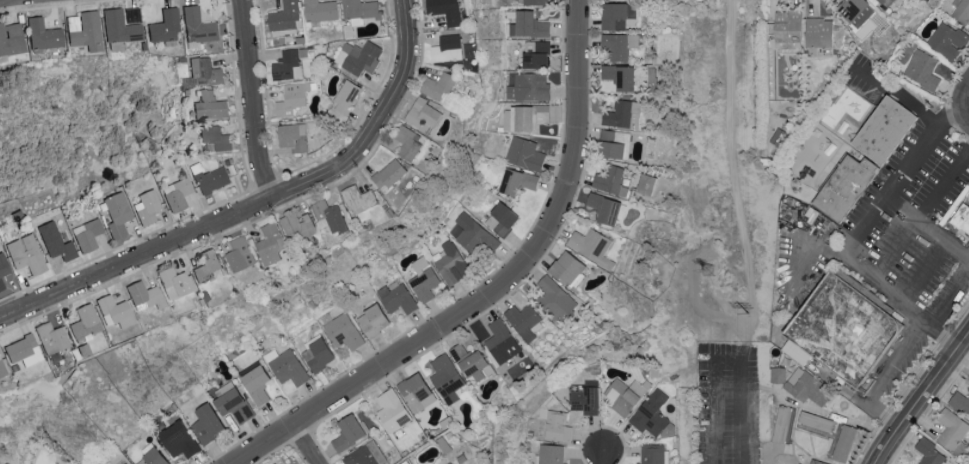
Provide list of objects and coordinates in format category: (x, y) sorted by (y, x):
road: (1, 0)
building: (880, 0)
building: (535, 2)
building: (850, 7)
building: (361, 10)
building: (960, 10)
building: (320, 11)
building: (446, 11)
building: (617, 15)
building: (286, 20)
building: (524, 23)
building: (787, 27)
building: (165, 28)
building: (200, 29)
building: (120, 30)
building: (818, 31)
building: (88, 33)
building: (45, 37)
building: (947, 39)
building: (11, 41)
building: (619, 44)
building: (448, 49)
building: (534, 53)
building: (363, 60)
building: (286, 65)
building: (922, 68)
building: (205, 72)
building: (619, 74)
building: (528, 86)
building: (440, 88)
building: (348, 98)
building: (293, 99)
road: (901, 99)
road: (253, 101)
road: (966, 106)
building: (210, 108)
building: (623, 113)
building: (422, 115)
building: (523, 116)
building: (886, 131)
building: (216, 138)
building: (294, 138)
building: (612, 142)
building: (408, 143)
road: (733, 143)
building: (525, 153)
building: (390, 176)
building: (610, 179)
building: (517, 180)
building: (213, 182)
building: (645, 182)
building: (845, 189)
building: (177, 196)
building: (360, 200)
building: (603, 206)
road: (258, 208)
building: (147, 209)
building: (116, 217)
road: (923, 217)
building: (329, 218)
building: (500, 218)
parking lot: (912, 222)
building: (966, 226)
building: (298, 229)
road: (926, 229)
building: (472, 233)
building: (87, 236)
road: (851, 238)
building: (591, 245)
building: (271, 246)
building: (60, 248)
building: (241, 255)
building: (25, 256)
building: (450, 262)
building: (207, 267)
building: (3, 268)
building: (567, 268)
power tower: (714, 269)
road: (926, 273)
building: (422, 278)
building: (176, 284)
building: (1, 288)
road: (502, 289)
building: (145, 296)
building: (395, 296)
building: (554, 297)
road: (948, 300)
building: (114, 314)
power tower: (751, 316)
building: (522, 319)
building: (372, 320)
building: (86, 326)
building: (342, 330)
building: (849, 334)
building: (52, 340)
building: (501, 341)
road: (725, 348)
building: (316, 352)
building: (25, 354)
building: (468, 360)
building: (286, 365)
building: (2, 372)
building: (777, 373)
building: (968, 373)
road: (884, 376)
building: (445, 377)
building: (255, 382)
building: (807, 386)
building: (415, 391)
building: (625, 393)
building: (585, 399)
road: (922, 399)
building: (960, 400)
building: (231, 401)
parking lot: (729, 404)
building: (391, 409)
building: (652, 415)
building: (206, 422)
building: (557, 425)
building: (951, 430)
building: (347, 431)
building: (177, 439)
building: (843, 442)
road: (307, 446)
building: (928, 451)
building: (550, 453)
building: (651, 453)
building: (365, 454)
building: (151, 457)
road: (603, 458)
building: (816, 462)
building: (124, 463)
building: (274, 463)
building: (799, 463)

